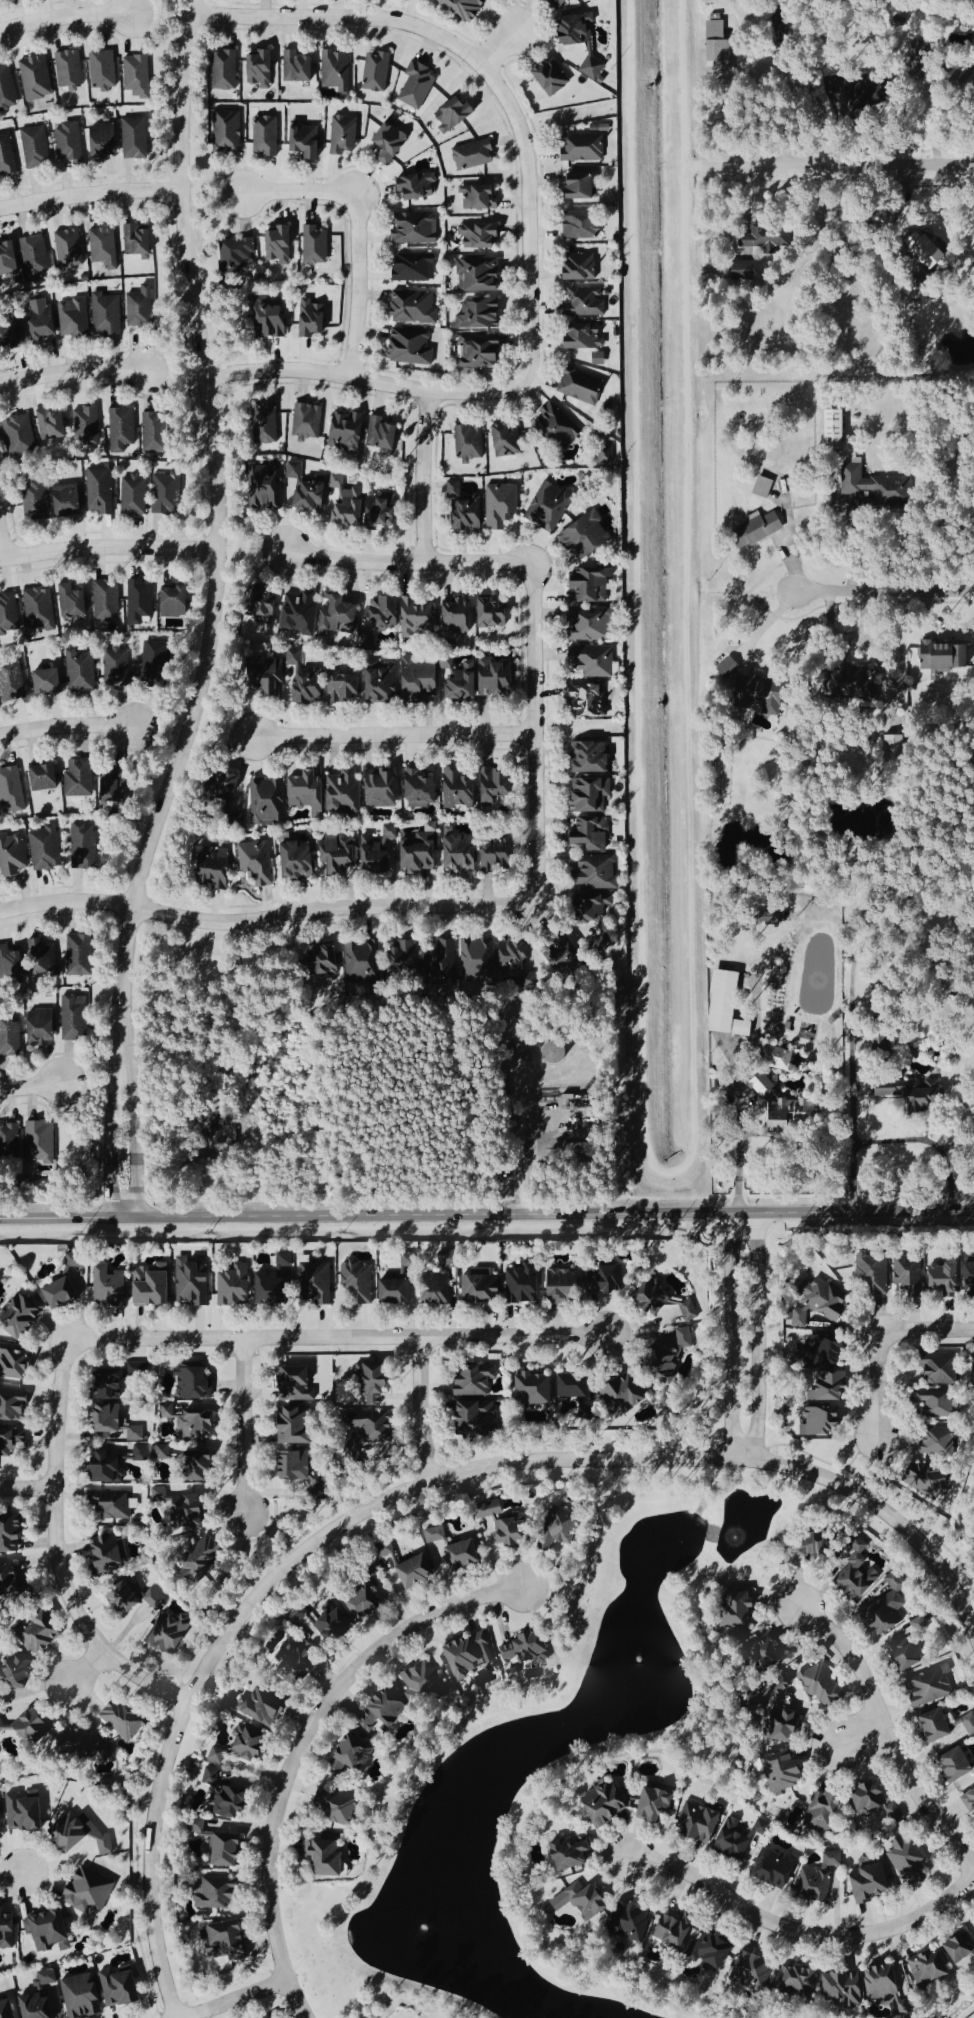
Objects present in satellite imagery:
building: (567, 0)
building: (466, 7)
road: (65, 16)
building: (579, 26)
building: (714, 44)
road: (495, 49)
building: (594, 64)
building: (300, 65)
building: (70, 66)
building: (264, 66)
building: (104, 68)
building: (227, 68)
building: (337, 68)
road: (761, 68)
building: (377, 69)
building: (139, 74)
road: (489, 75)
building: (555, 75)
building: (37, 76)
building: (828, 77)
building: (419, 83)
building: (8, 88)
building: (859, 91)
building: (456, 112)
building: (229, 129)
building: (345, 132)
building: (268, 133)
building: (136, 136)
building: (309, 138)
building: (107, 139)
building: (70, 140)
building: (392, 140)
building: (37, 145)
building: (586, 145)
building: (7, 153)
building: (475, 153)
road: (841, 163)
building: (417, 184)
building: (584, 184)
road: (298, 192)
road: (89, 193)
building: (482, 195)
building: (584, 223)
building: (417, 227)
building: (481, 233)
building: (761, 235)
building: (139, 238)
building: (282, 242)
building: (317, 242)
building: (105, 245)
building: (71, 246)
building: (921, 249)
building: (237, 251)
building: (36, 256)
building: (10, 257)
building: (416, 265)
building: (582, 265)
building: (739, 269)
building: (481, 273)
road: (357, 283)
building: (586, 301)
building: (141, 305)
building: (415, 306)
building: (107, 312)
building: (482, 312)
building: (74, 315)
building: (274, 317)
building: (315, 317)
building: (46, 320)
building: (14, 332)
building: (586, 335)
building: (412, 345)
building: (483, 349)
road: (72, 369)
road: (361, 377)
building: (582, 384)
building: (308, 419)
building: (268, 421)
building: (54, 423)
building: (88, 423)
building: (560, 423)
building: (123, 427)
building: (828, 428)
building: (348, 430)
building: (157, 431)
building: (385, 433)
building: (20, 434)
building: (509, 438)
building: (470, 441)
road: (423, 477)
building: (872, 483)
building: (266, 484)
building: (307, 487)
building: (455, 487)
building: (101, 489)
building: (168, 491)
building: (135, 493)
building: (69, 497)
building: (41, 498)
building: (349, 501)
building: (503, 503)
building: (552, 503)
building: (383, 509)
building: (473, 512)
building: (752, 527)
road: (108, 547)
road: (2, 548)
road: (406, 565)
road: (886, 588)
building: (107, 597)
building: (178, 599)
building: (74, 600)
building: (140, 600)
building: (40, 606)
building: (9, 609)
building: (302, 609)
building: (340, 610)
building: (387, 611)
road: (212, 612)
building: (497, 612)
building: (461, 614)
building: (594, 621)
road: (770, 622)
building: (367, 636)
building: (937, 656)
building: (156, 659)
building: (597, 659)
building: (118, 664)
building: (728, 666)
building: (82, 670)
building: (848, 673)
building: (273, 675)
building: (423, 675)
building: (480, 677)
building: (308, 679)
building: (45, 680)
building: (12, 681)
building: (384, 682)
building: (344, 683)
building: (765, 690)
building: (590, 698)
road: (66, 726)
road: (391, 734)
road: (532, 734)
building: (593, 755)
building: (47, 776)
building: (80, 776)
building: (501, 783)
building: (117, 784)
building: (231, 785)
building: (462, 786)
building: (12, 787)
building: (385, 787)
building: (422, 787)
building: (347, 789)
building: (311, 790)
building: (593, 793)
building: (267, 799)
building: (592, 832)
building: (85, 845)
building: (46, 847)
building: (381, 847)
building: (423, 848)
building: (340, 851)
building: (463, 851)
building: (13, 853)
building: (500, 853)
building: (301, 859)
building: (258, 860)
building: (218, 867)
building: (598, 871)
building: (596, 905)
building: (769, 917)
road: (266, 919)
building: (405, 951)
building: (566, 951)
building: (81, 953)
building: (477, 953)
building: (44, 958)
building: (517, 958)
building: (327, 959)
building: (361, 960)
building: (13, 961)
building: (438, 963)
building: (76, 1016)
building: (45, 1024)
building: (739, 1027)
building: (11, 1035)
building: (776, 1057)
road: (30, 1088)
road: (738, 1132)
road: (522, 1139)
building: (10, 1141)
building: (41, 1142)
road: (487, 1216)
building: (79, 1259)
building: (280, 1262)
building: (869, 1268)
building: (967, 1282)
building: (556, 1284)
building: (110, 1285)
building: (154, 1285)
building: (190, 1285)
building: (310, 1285)
building: (229, 1286)
building: (355, 1286)
building: (516, 1286)
building: (265, 1289)
building: (430, 1291)
building: (473, 1291)
building: (66, 1292)
building: (386, 1292)
building: (812, 1304)
building: (23, 1316)
road: (730, 1336)
road: (756, 1336)
road: (338, 1337)
road: (882, 1340)
building: (18, 1361)
building: (654, 1363)
building: (935, 1370)
building: (365, 1377)
building: (119, 1379)
building: (467, 1382)
building: (194, 1383)
building: (566, 1387)
building: (526, 1389)
building: (622, 1395)
building: (14, 1405)
road: (419, 1406)
building: (117, 1421)
building: (815, 1422)
building: (284, 1423)
road: (244, 1425)
building: (10, 1436)
road: (859, 1450)
building: (141, 1453)
building: (172, 1455)
building: (110, 1466)
road: (413, 1485)
road: (27, 1490)
road: (883, 1491)
building: (112, 1505)
building: (194, 1529)
fountain: (734, 1535)
building: (12, 1536)
building: (435, 1540)
building: (801, 1544)
building: (109, 1553)
road: (58, 1554)
building: (456, 1555)
building: (409, 1571)
building: (11, 1580)
building: (852, 1581)
building: (138, 1595)
building: (915, 1624)
building: (172, 1629)
building: (46, 1634)
building: (520, 1651)
building: (465, 1655)
building: (900, 1659)
fountain: (635, 1665)
road: (85, 1669)
building: (510, 1672)
building: (416, 1681)
building: (819, 1685)
building: (925, 1686)
building: (255, 1710)
building: (126, 1719)
building: (961, 1725)
building: (928, 1727)
road: (856, 1736)
road: (887, 1737)
road: (298, 1744)
building: (343, 1749)
building: (949, 1766)
building: (778, 1771)
building: (327, 1800)
building: (968, 1802)
building: (597, 1803)
building: (27, 1811)
building: (2, 1818)
building: (84, 1835)
building: (728, 1840)
building: (562, 1850)
building: (319, 1854)
road: (11, 1873)
building: (794, 1875)
building: (211, 1892)
building: (575, 1900)
building: (972, 1918)
fountain: (416, 1921)
building: (51, 1928)
building: (5, 1930)
building: (665, 1930)
road: (804, 1936)
building: (957, 1948)
building: (706, 1950)
building: (924, 1967)
building: (114, 1987)
building: (836, 1988)
building: (77, 1996)
road: (232, 1998)
building: (27, 2000)
road: (968, 2013)

